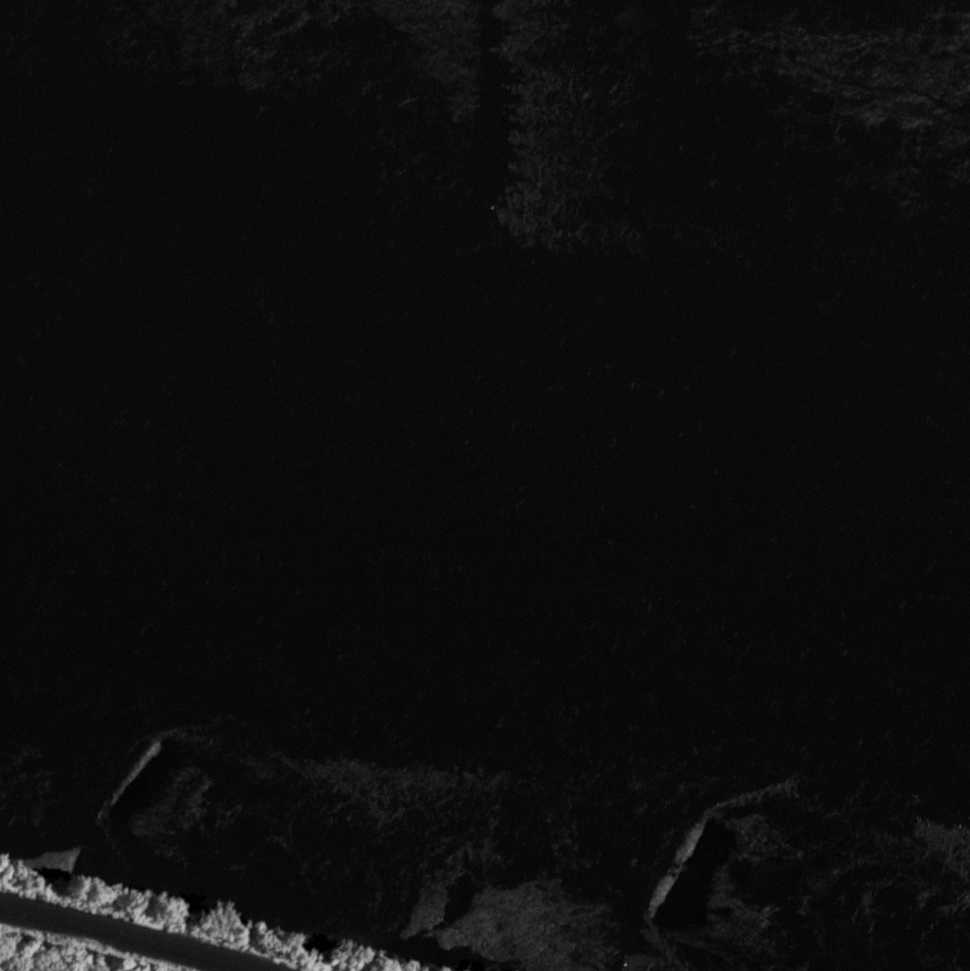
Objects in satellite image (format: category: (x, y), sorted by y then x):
river: (485, 470)
railway: (133, 933)
railway: (119, 939)

